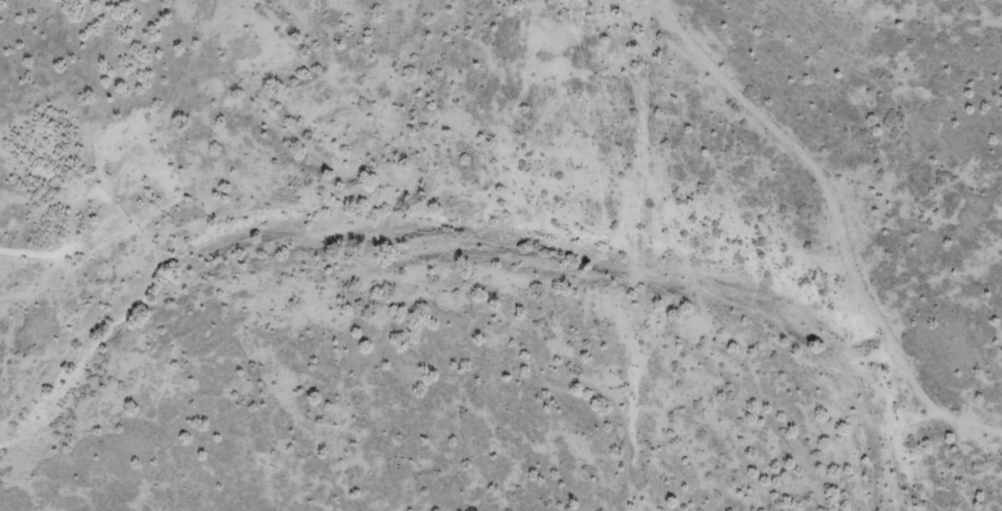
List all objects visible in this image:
road: (861, 233)
road: (673, 255)

